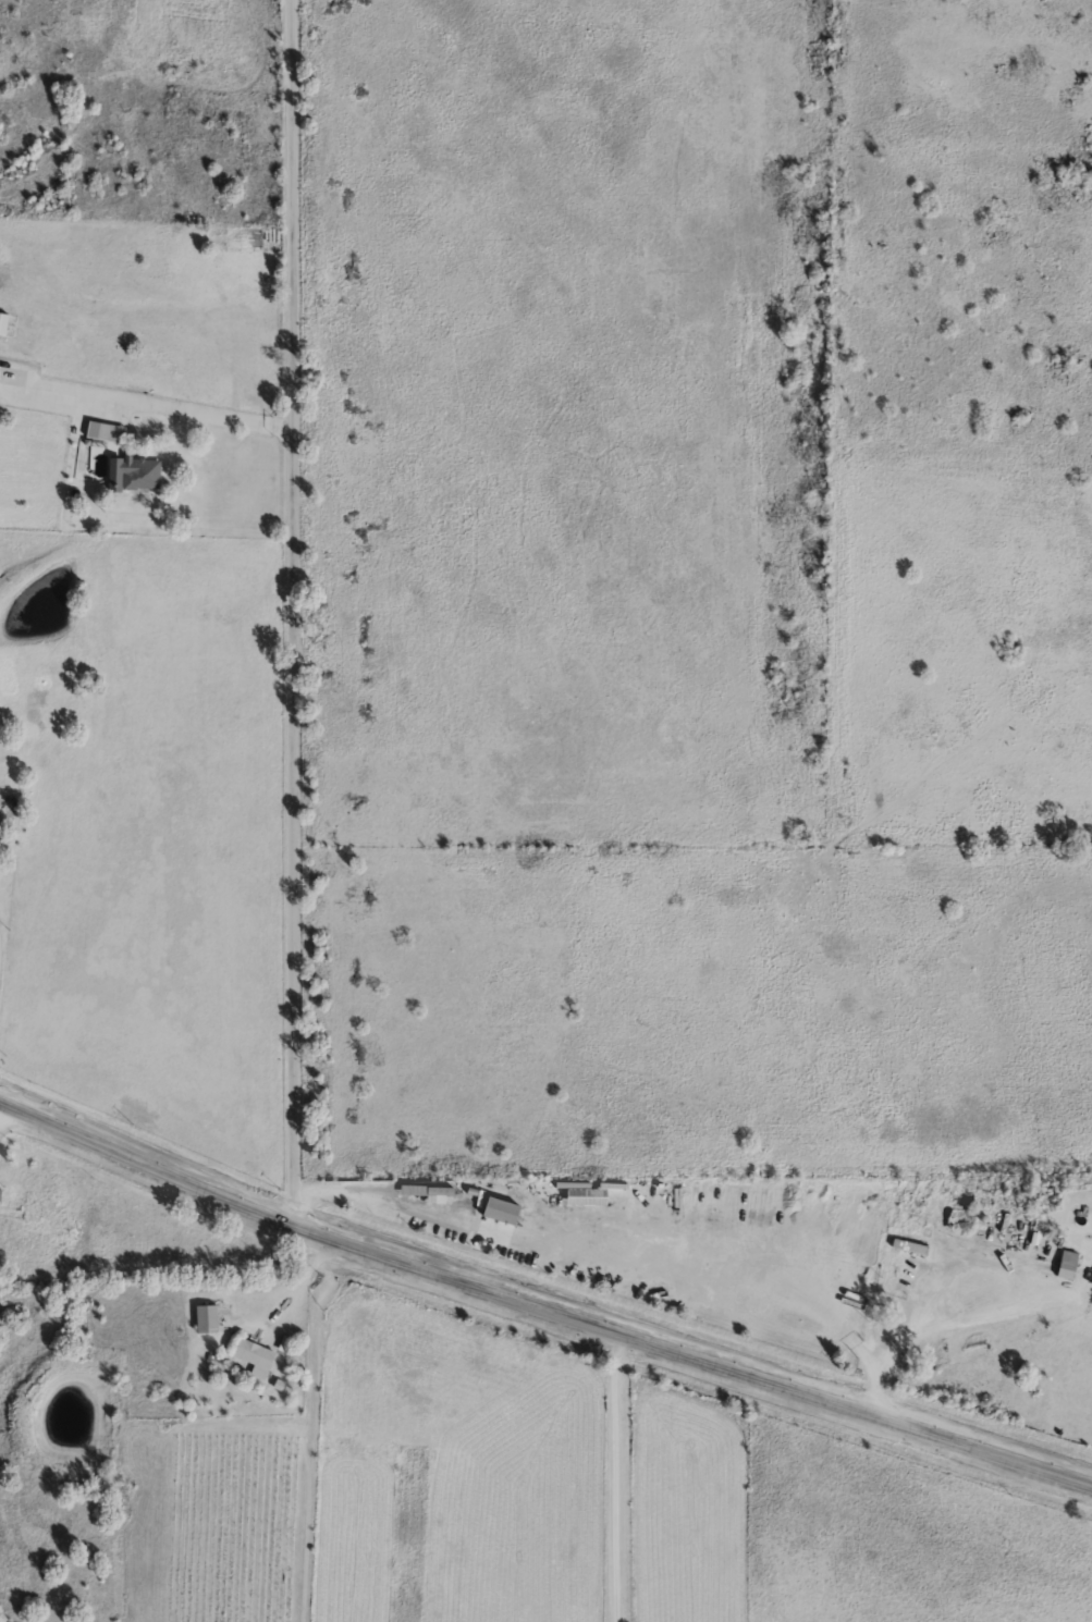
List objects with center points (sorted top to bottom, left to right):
building: (4, 322)
road: (192, 413)
building: (107, 430)
building: (143, 472)
road: (291, 612)
building: (504, 1208)
road: (615, 1263)
building: (1063, 1264)
building: (1091, 1283)
building: (900, 1286)
road: (540, 1306)
building: (209, 1317)
road: (927, 1324)
building: (256, 1353)
building: (204, 1369)
road: (613, 1477)

